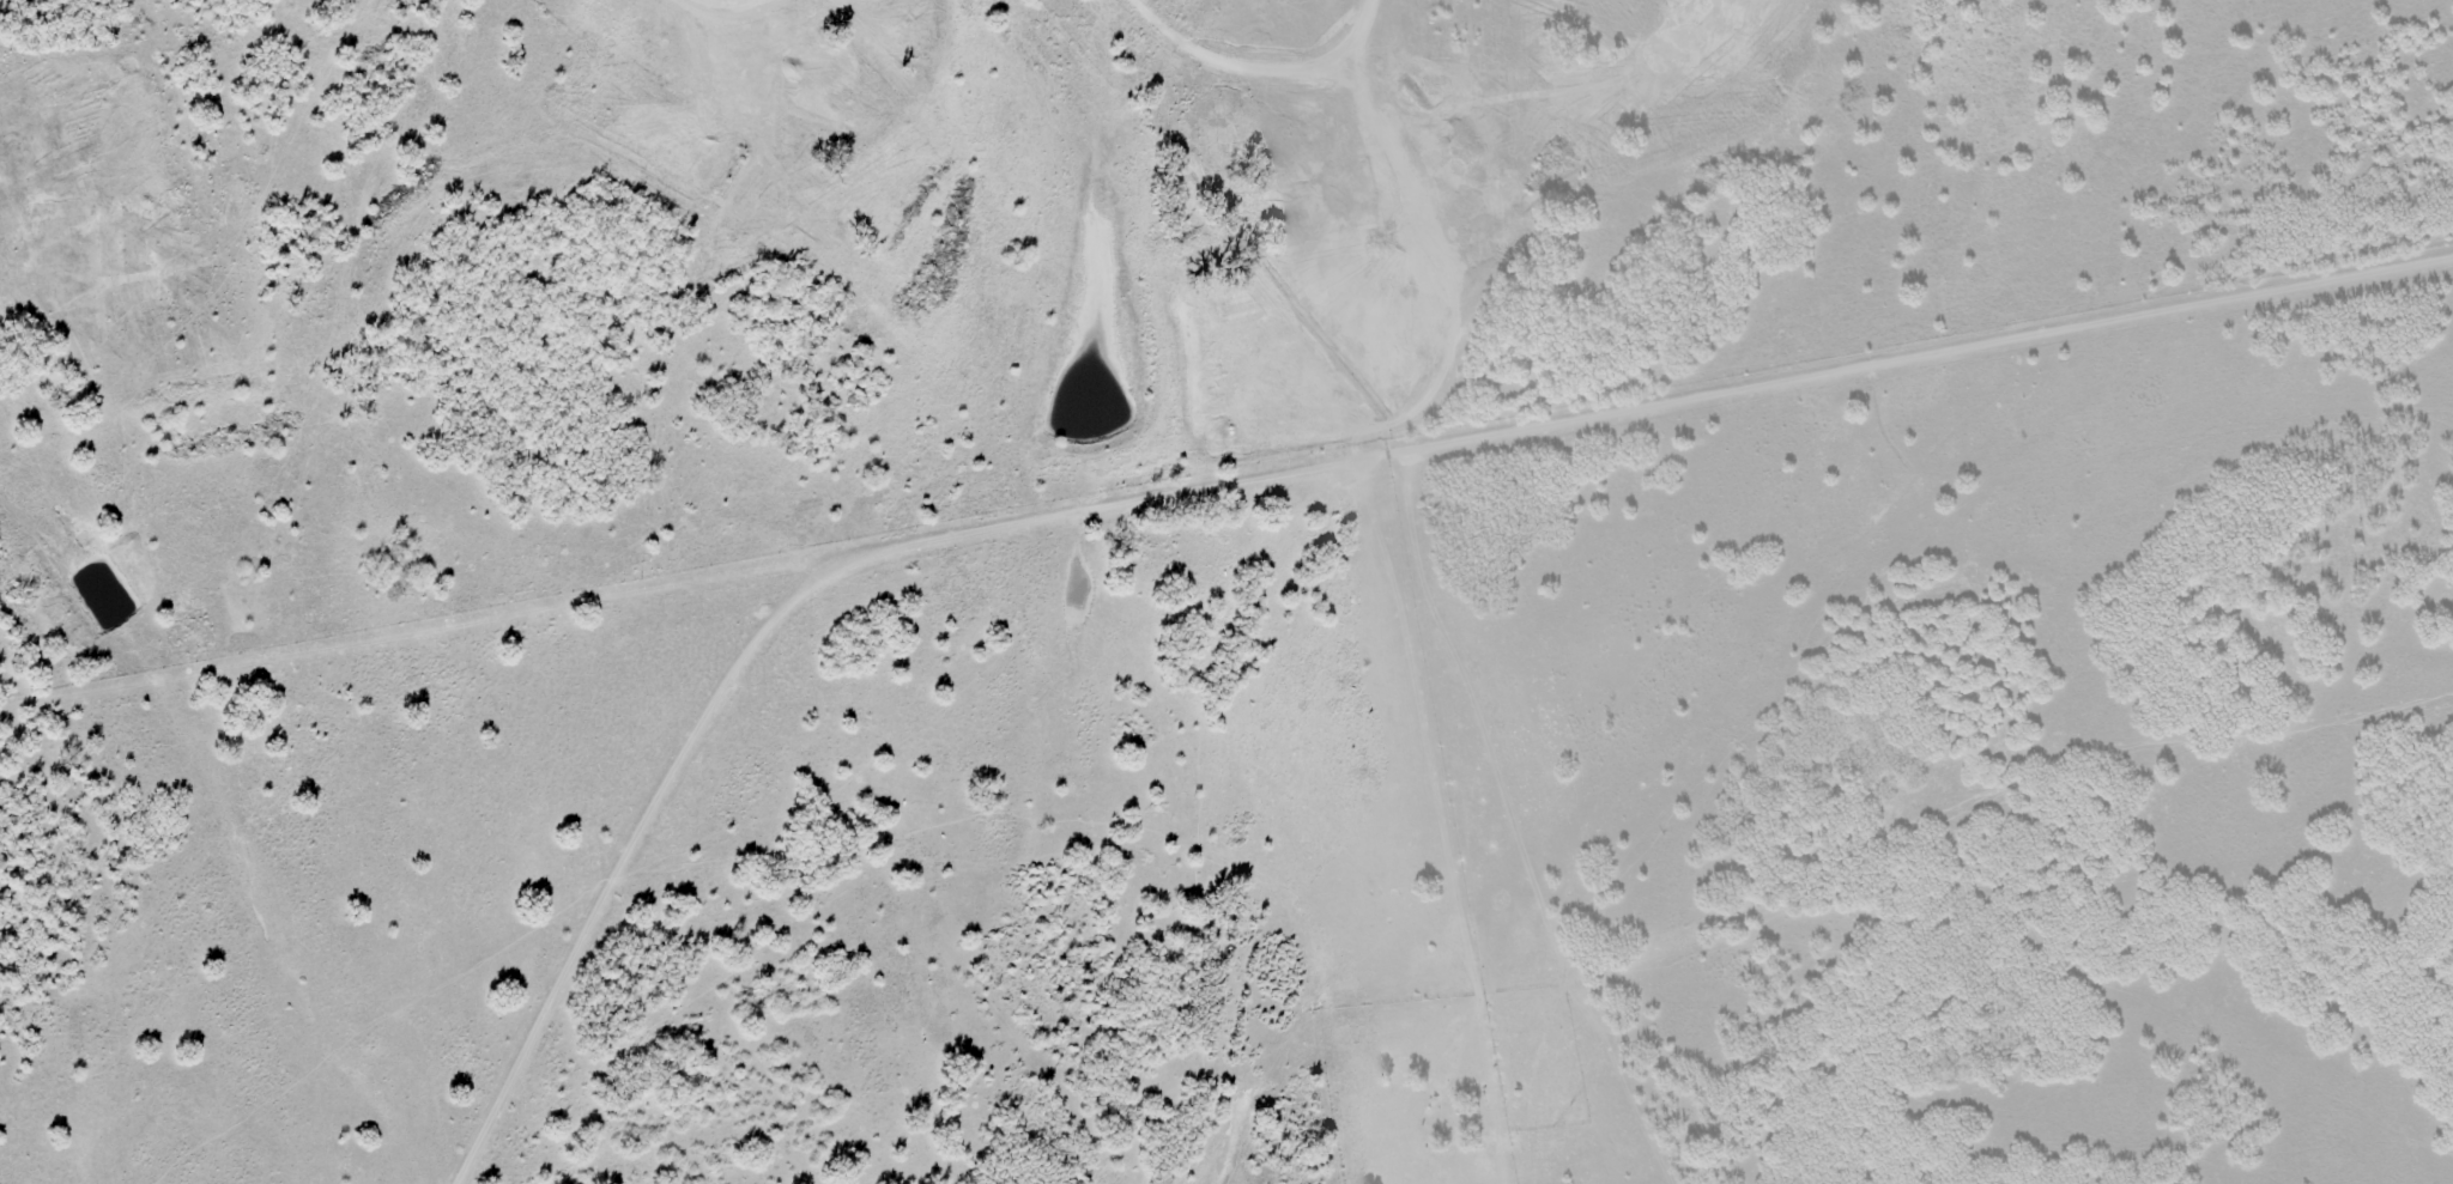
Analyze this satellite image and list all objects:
road: (1363, 557)

